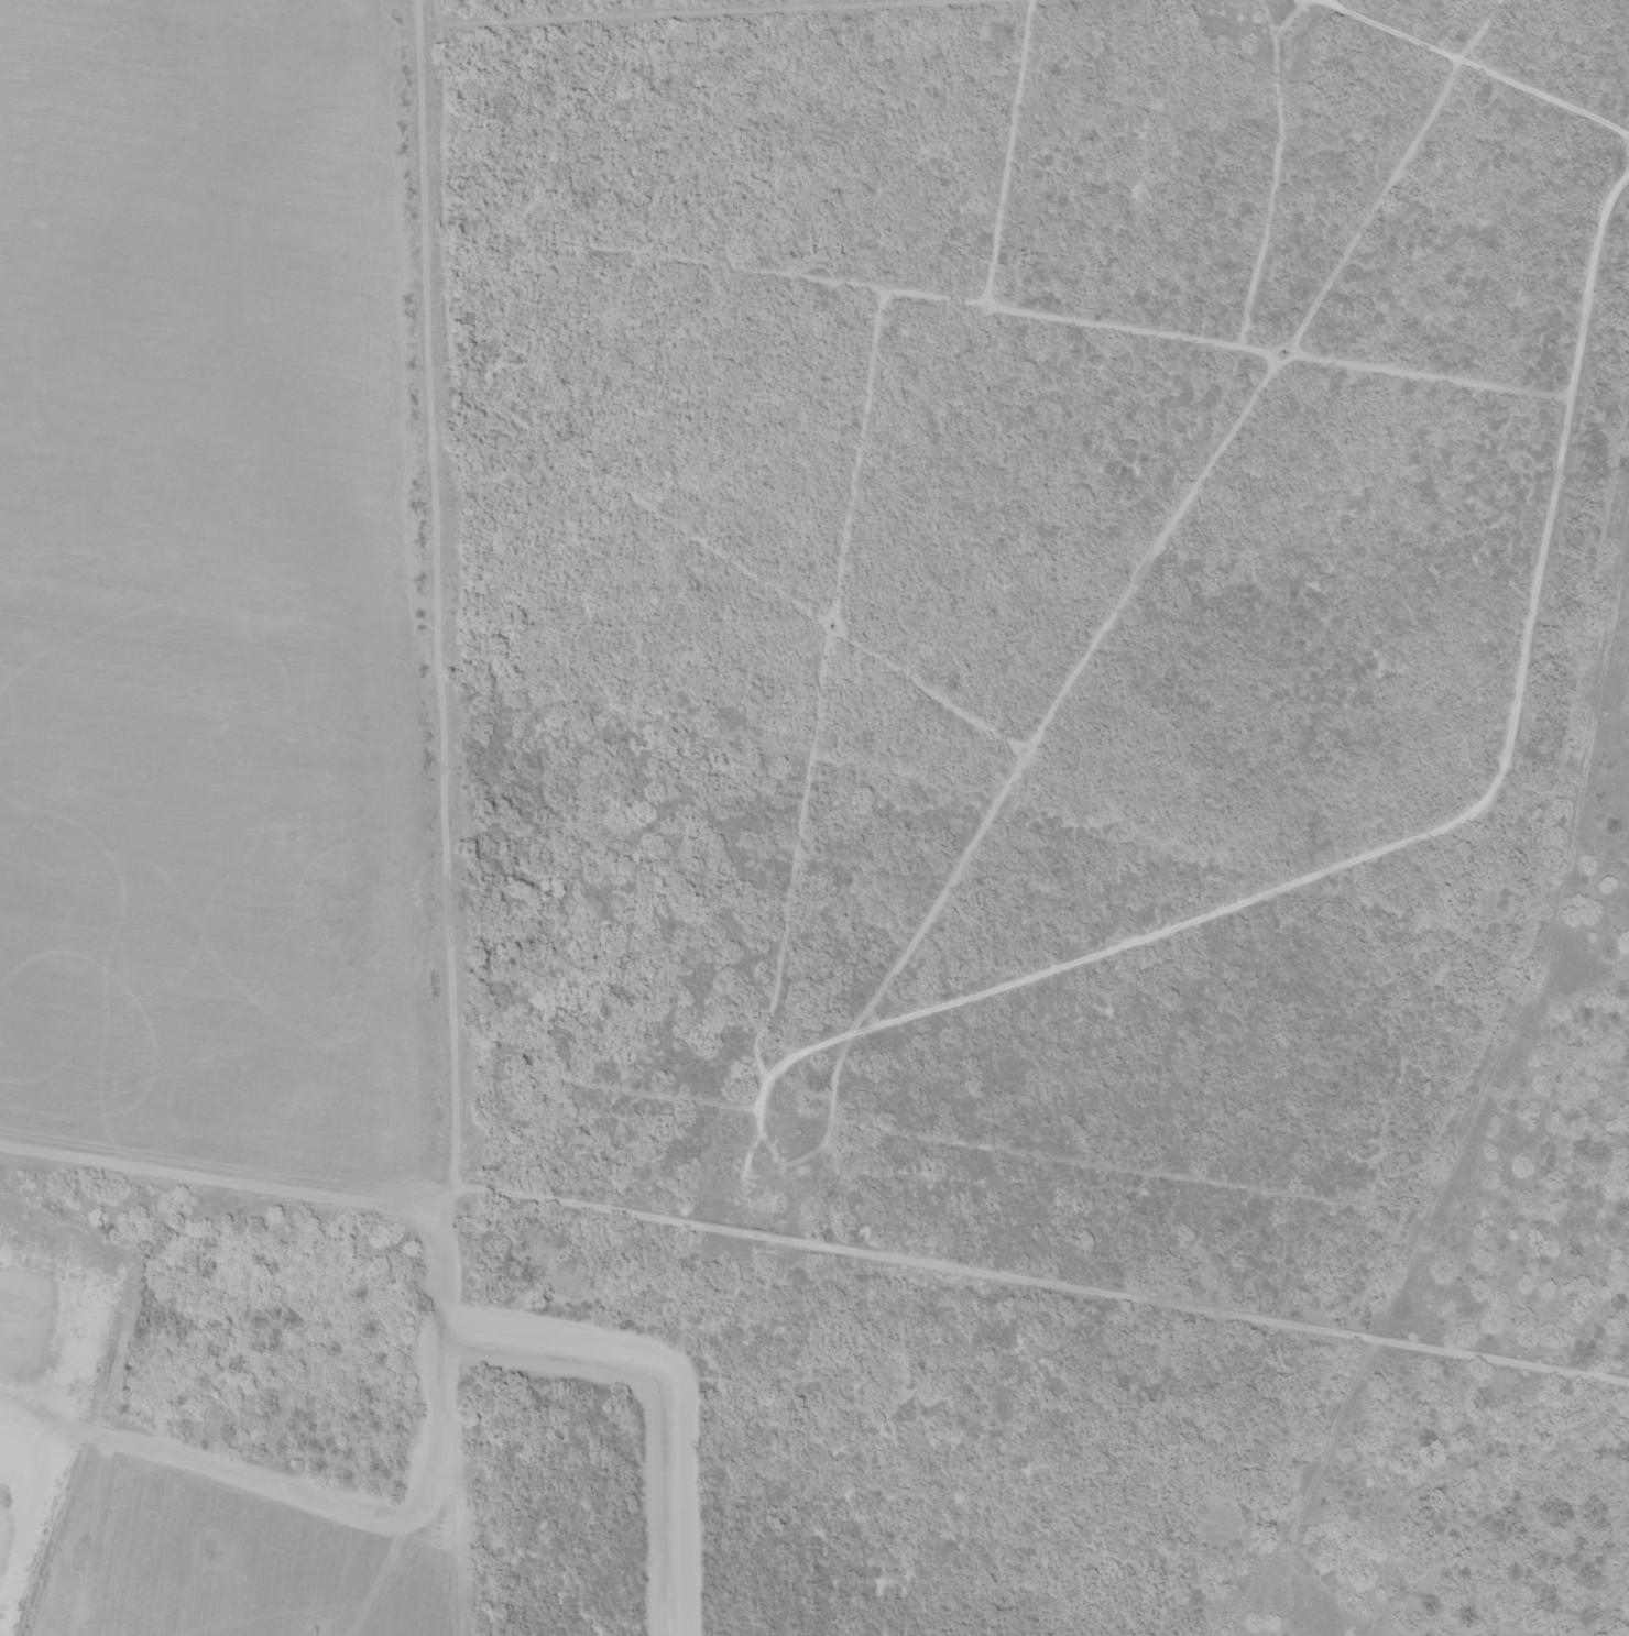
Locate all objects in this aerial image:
road: (1437, 860)
road: (1581, 882)
road: (147, 1244)
road: (1379, 1306)

